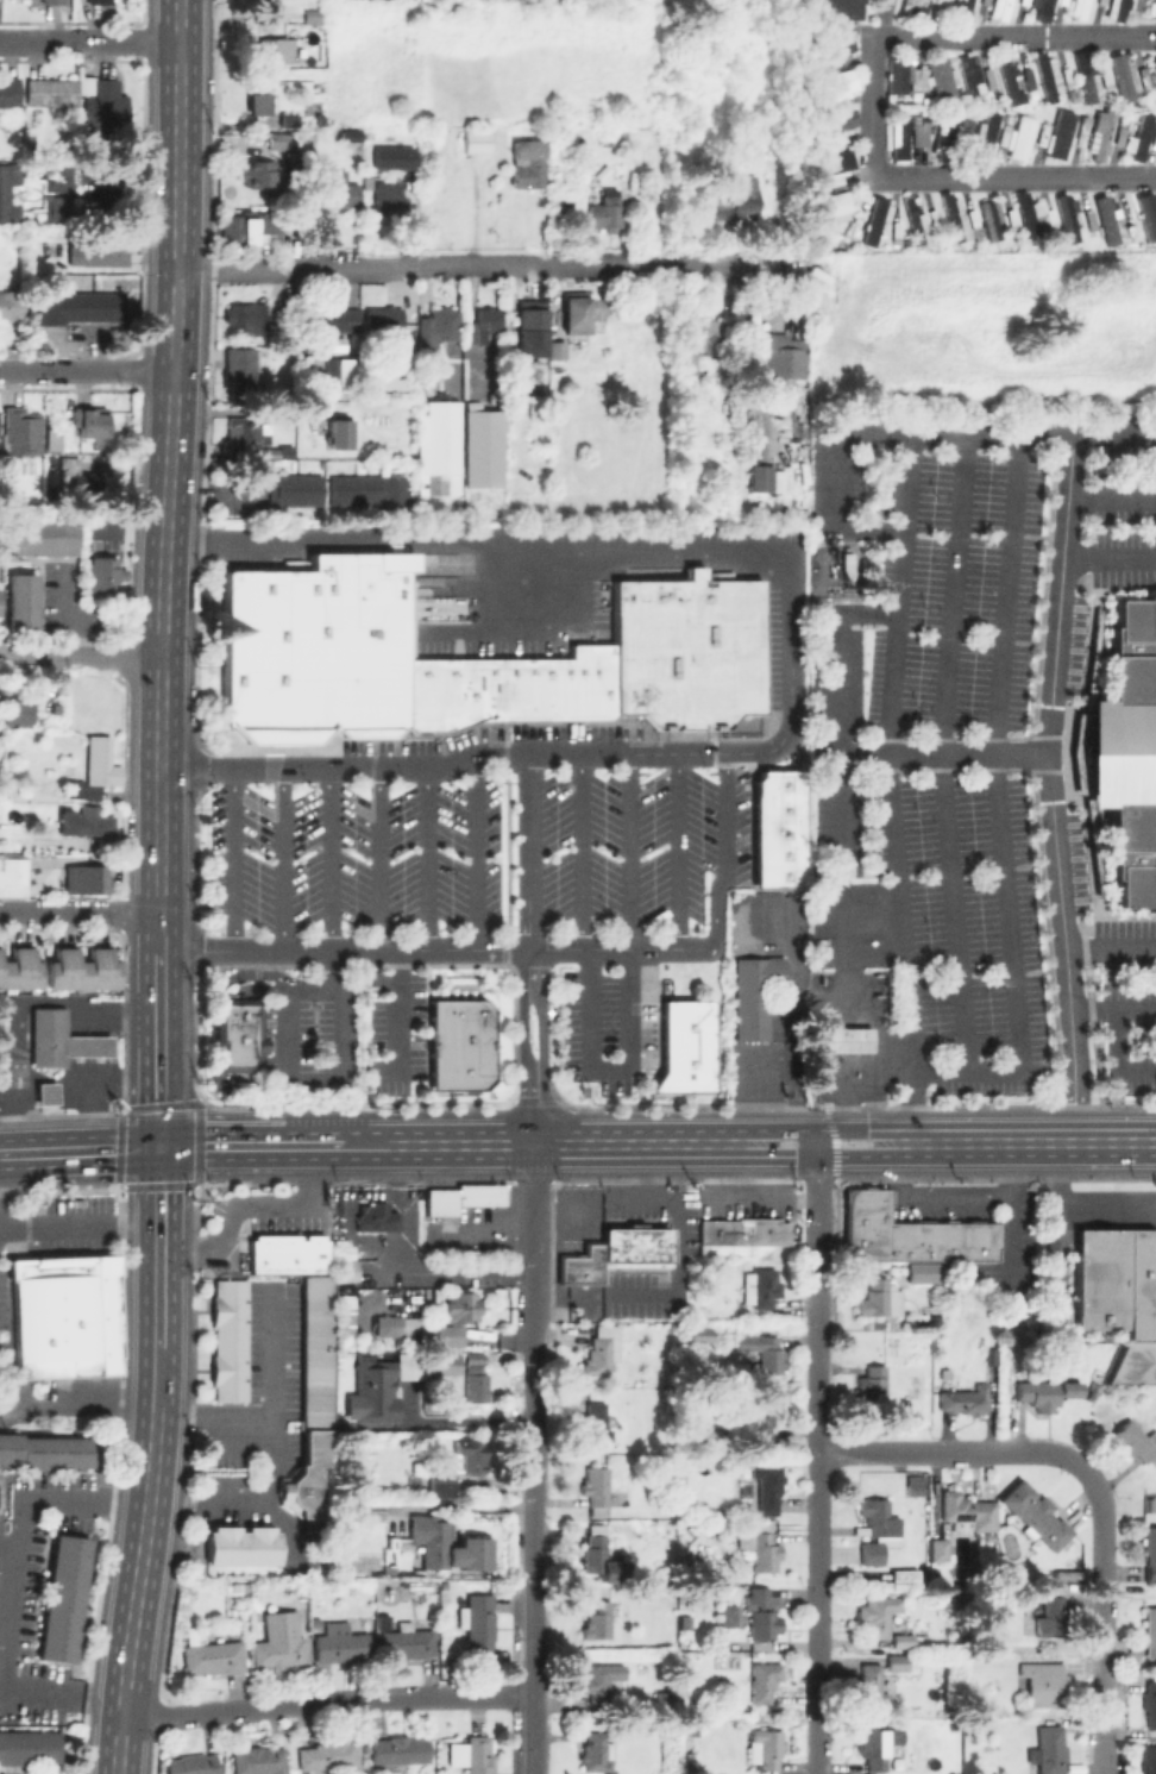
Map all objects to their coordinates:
building: (54, 1)
building: (100, 1)
building: (944, 1)
building: (1023, 1)
building: (1062, 1)
building: (1141, 1)
building: (1080, 7)
building: (916, 8)
building: (963, 8)
building: (1151, 8)
building: (995, 10)
building: (1043, 10)
building: (1116, 10)
building: (834, 12)
building: (310, 14)
road: (1013, 33)
road: (88, 42)
building: (836, 48)
building: (275, 50)
building: (1154, 64)
building: (1083, 71)
building: (896, 74)
building: (941, 75)
building: (972, 75)
building: (1117, 76)
building: (1144, 76)
building: (991, 77)
building: (1029, 77)
building: (1048, 77)
building: (1106, 77)
building: (918, 80)
building: (1068, 80)
building: (1011, 82)
building: (835, 86)
road: (871, 86)
building: (52, 92)
building: (10, 94)
building: (259, 102)
building: (825, 104)
building: (106, 107)
building: (289, 119)
building: (840, 123)
building: (967, 130)
building: (1058, 130)
building: (1081, 132)
building: (921, 133)
building: (1004, 133)
building: (1042, 133)
building: (1119, 133)
building: (987, 134)
building: (352, 136)
building: (1019, 136)
building: (1100, 136)
building: (608, 137)
building: (945, 137)
building: (1142, 137)
building: (1155, 137)
building: (281, 139)
building: (477, 139)
building: (900, 140)
building: (827, 142)
building: (378, 150)
building: (834, 159)
building: (529, 162)
building: (255, 171)
road: (1012, 173)
building: (56, 178)
building: (828, 181)
building: (335, 192)
building: (2, 193)
building: (388, 200)
building: (737, 201)
building: (834, 207)
building: (55, 208)
building: (605, 212)
building: (1110, 213)
building: (1148, 214)
building: (1030, 215)
building: (916, 218)
building: (1051, 218)
building: (1091, 218)
building: (1129, 218)
building: (935, 219)
building: (955, 219)
building: (974, 219)
building: (1068, 219)
building: (1102, 219)
building: (993, 220)
building: (877, 221)
building: (1014, 222)
building: (852, 226)
building: (245, 227)
building: (896, 231)
building: (99, 250)
road: (484, 267)
building: (12, 305)
building: (81, 307)
building: (582, 309)
building: (247, 315)
building: (325, 319)
building: (382, 322)
building: (483, 324)
building: (439, 327)
building: (532, 331)
building: (709, 333)
building: (496, 346)
building: (558, 349)
building: (778, 355)
building: (687, 363)
building: (244, 368)
building: (451, 368)
road: (87, 372)
building: (332, 372)
building: (509, 384)
building: (536, 408)
building: (90, 420)
building: (23, 430)
building: (243, 433)
building: (339, 434)
road: (923, 435)
building: (272, 451)
road: (169, 456)
building: (77, 477)
building: (759, 477)
building: (444, 485)
building: (278, 489)
building: (304, 489)
building: (339, 489)
building: (364, 489)
building: (389, 489)
road: (1112, 499)
road: (479, 533)
building: (39, 535)
road: (1108, 557)
building: (105, 572)
building: (19, 602)
building: (369, 644)
building: (749, 647)
building: (677, 652)
building: (278, 654)
road: (80, 656)
building: (602, 682)
building: (578, 683)
building: (489, 690)
building: (517, 690)
building: (541, 690)
building: (559, 690)
building: (464, 692)
building: (428, 697)
building: (18, 712)
road: (566, 754)
road: (941, 754)
road: (942, 756)
building: (1129, 756)
building: (96, 770)
building: (783, 784)
road: (837, 786)
road: (890, 789)
road: (1049, 789)
road: (999, 804)
building: (783, 809)
building: (84, 821)
building: (783, 833)
road: (477, 852)
road: (527, 852)
road: (582, 852)
road: (630, 852)
road: (677, 852)
building: (783, 855)
road: (377, 859)
road: (428, 859)
road: (235, 860)
road: (284, 860)
road: (332, 860)
road: (724, 869)
building: (11, 876)
building: (82, 878)
building: (783, 879)
road: (80, 910)
road: (159, 932)
road: (1108, 948)
road: (417, 951)
building: (19, 970)
building: (86, 970)
building: (379, 980)
building: (755, 995)
road: (13, 1007)
road: (1112, 1009)
road: (178, 1018)
road: (796, 1018)
road: (86, 1020)
building: (464, 1020)
road: (402, 1022)
road: (212, 1024)
building: (243, 1034)
building: (838, 1039)
building: (58, 1040)
road: (86, 1046)
building: (690, 1046)
road: (522, 1047)
road: (541, 1047)
road: (158, 1049)
building: (464, 1052)
road: (1117, 1057)
road: (609, 1072)
road: (771, 1073)
building: (464, 1076)
road: (315, 1082)
building: (46, 1093)
road: (86, 1102)
road: (310, 1126)
road: (824, 1130)
road: (837, 1142)
road: (1029, 1143)
road: (574, 1145)
road: (310, 1146)
road: (369, 1146)
road: (221, 1147)
traffic signals: (158, 1148)
road: (103, 1149)
road: (24, 1154)
road: (824, 1156)
road: (268, 1164)
road: (901, 1170)
road: (1007, 1172)
road: (953, 1195)
building: (464, 1197)
road: (1079, 1199)
road: (251, 1205)
road: (400, 1208)
road: (158, 1212)
building: (376, 1217)
road: (78, 1228)
building: (912, 1233)
building: (742, 1234)
road: (532, 1236)
building: (637, 1245)
building: (344, 1252)
building: (285, 1253)
building: (584, 1266)
building: (343, 1270)
road: (446, 1271)
building: (925, 1273)
building: (761, 1287)
building: (1120, 1296)
building: (875, 1298)
building: (460, 1308)
road: (158, 1312)
building: (68, 1315)
building: (394, 1324)
building: (440, 1336)
building: (700, 1336)
building: (402, 1340)
building: (231, 1341)
building: (603, 1350)
building: (764, 1353)
building: (445, 1364)
road: (157, 1379)
building: (873, 1385)
building: (476, 1387)
building: (371, 1390)
building: (1043, 1392)
building: (309, 1399)
building: (966, 1399)
road: (76, 1405)
road: (278, 1419)
road: (464, 1419)
building: (762, 1422)
building: (596, 1424)
building: (711, 1440)
building: (1135, 1440)
building: (44, 1449)
road: (941, 1450)
road: (817, 1452)
building: (459, 1467)
building: (915, 1485)
building: (766, 1488)
building: (597, 1491)
building: (385, 1506)
building: (967, 1512)
building: (1036, 1513)
building: (878, 1529)
building: (400, 1544)
building: (241, 1546)
building: (451, 1548)
building: (940, 1549)
road: (532, 1550)
building: (762, 1550)
building: (1149, 1552)
building: (602, 1559)
building: (389, 1571)
road: (17, 1573)
building: (905, 1575)
road: (136, 1593)
building: (59, 1598)
road: (1102, 1607)
building: (878, 1613)
building: (728, 1615)
building: (761, 1615)
building: (1051, 1617)
building: (598, 1621)
building: (685, 1621)
building: (477, 1623)
building: (1151, 1632)
building: (903, 1638)
building: (279, 1642)
building: (408, 1642)
building: (341, 1643)
building: (214, 1657)
building: (897, 1663)
building: (603, 1679)
building: (764, 1680)
building: (1043, 1682)
building: (869, 1685)
building: (660, 1692)
road: (325, 1701)
building: (1150, 1703)
building: (30, 1745)
building: (766, 1748)
building: (873, 1748)
building: (1050, 1749)
building: (398, 1751)
building: (597, 1753)
building: (472, 1755)
building: (329, 1756)
building: (689, 1756)
building: (1149, 1759)
building: (259, 1761)
building: (194, 1764)

